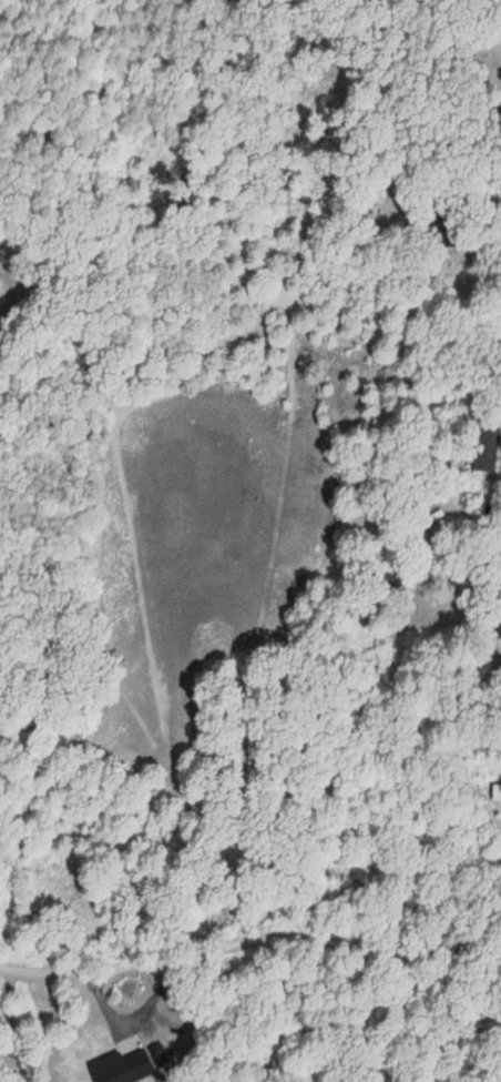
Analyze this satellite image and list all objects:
building: (500, 79)
building: (485, 446)
building: (124, 1068)

